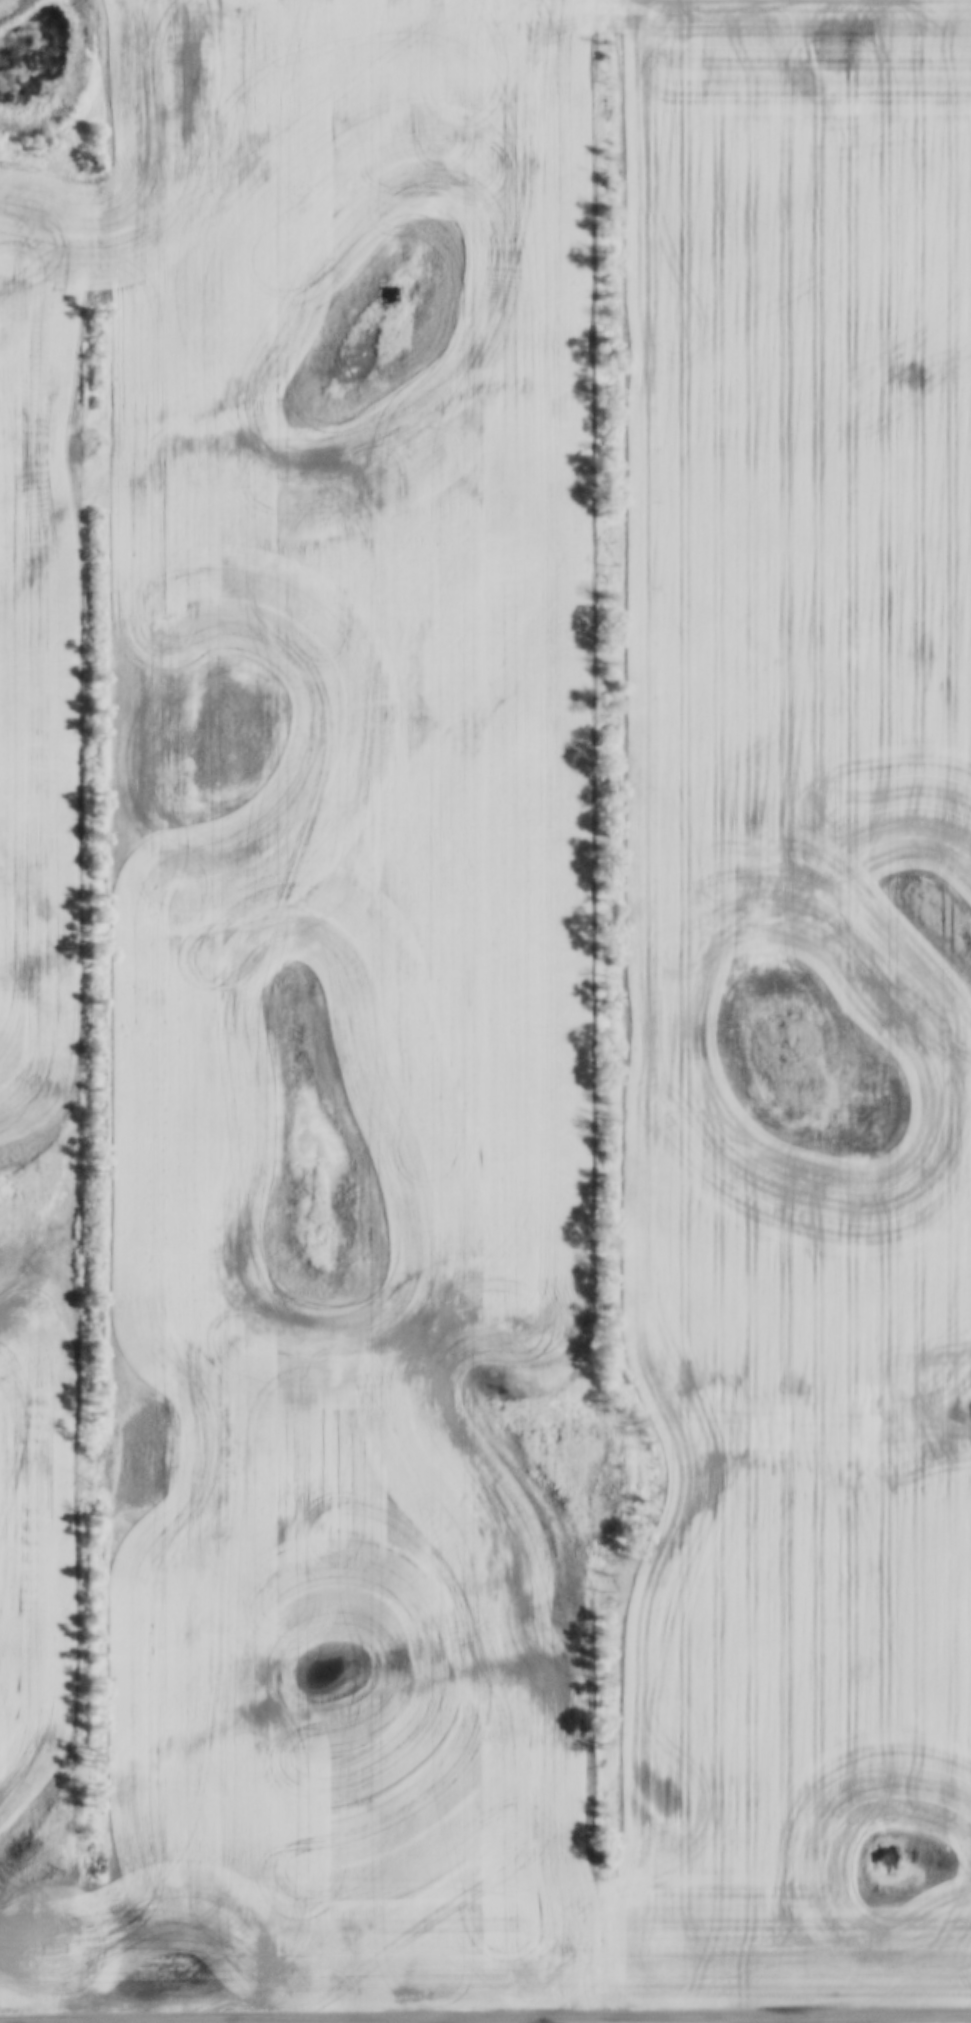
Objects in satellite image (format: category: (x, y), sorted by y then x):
road: (485, 2015)

